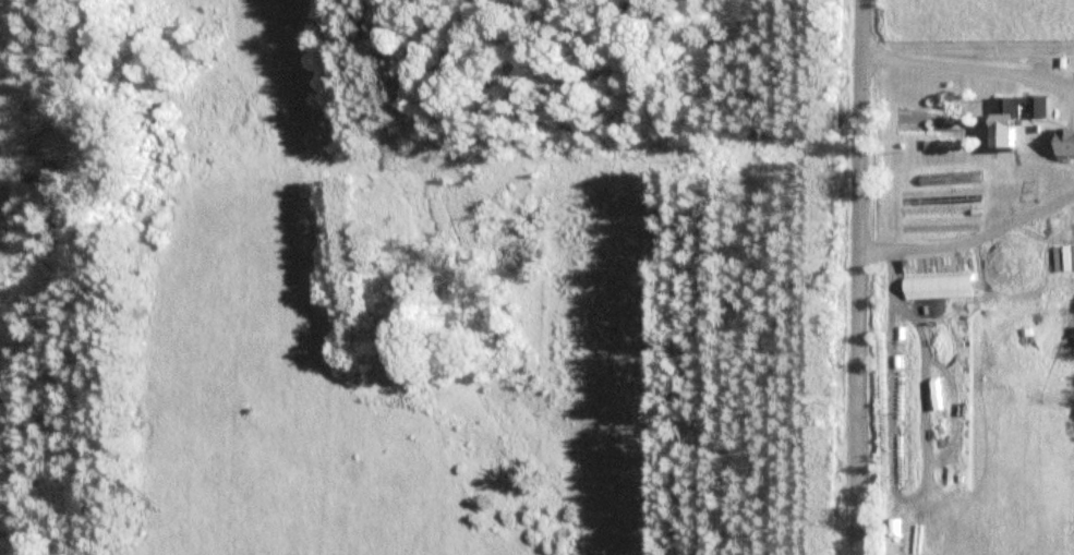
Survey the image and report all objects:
building: (1017, 118)
building: (1067, 145)
building: (941, 225)
road: (858, 277)
building: (942, 283)

